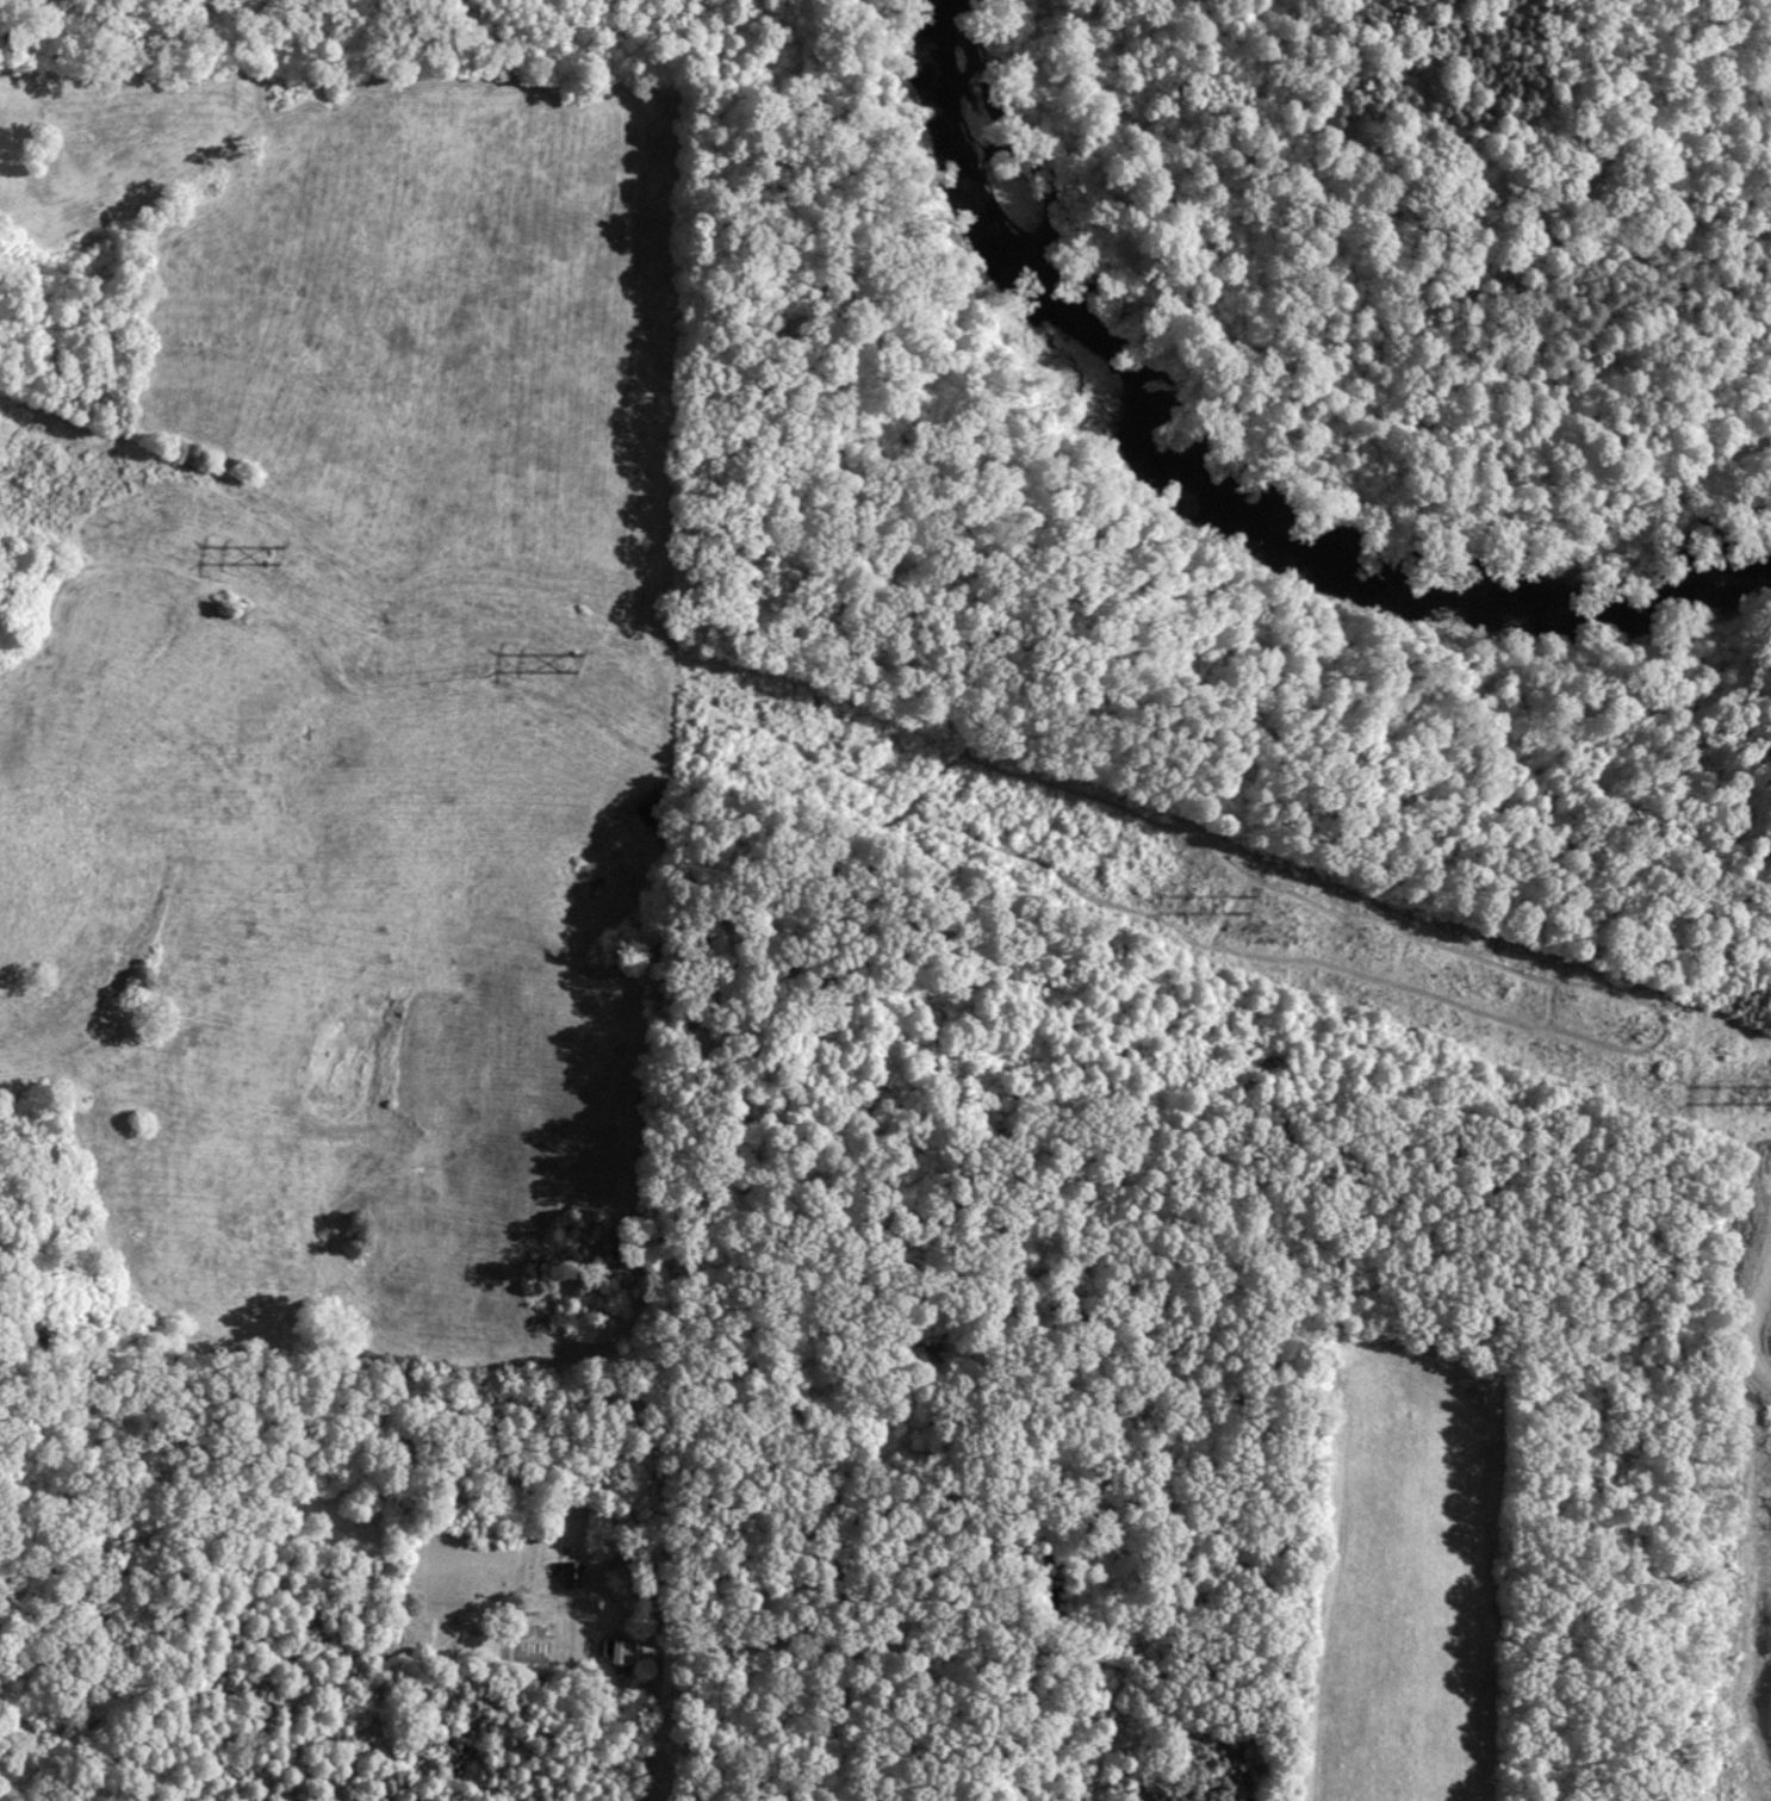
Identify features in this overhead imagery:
river: (1220, 496)
power tower: (268, 557)
power tower: (566, 664)
power tower: (1238, 907)
power tower: (1763, 1095)
building: (568, 1575)
building: (616, 1653)
road: (654, 1679)

